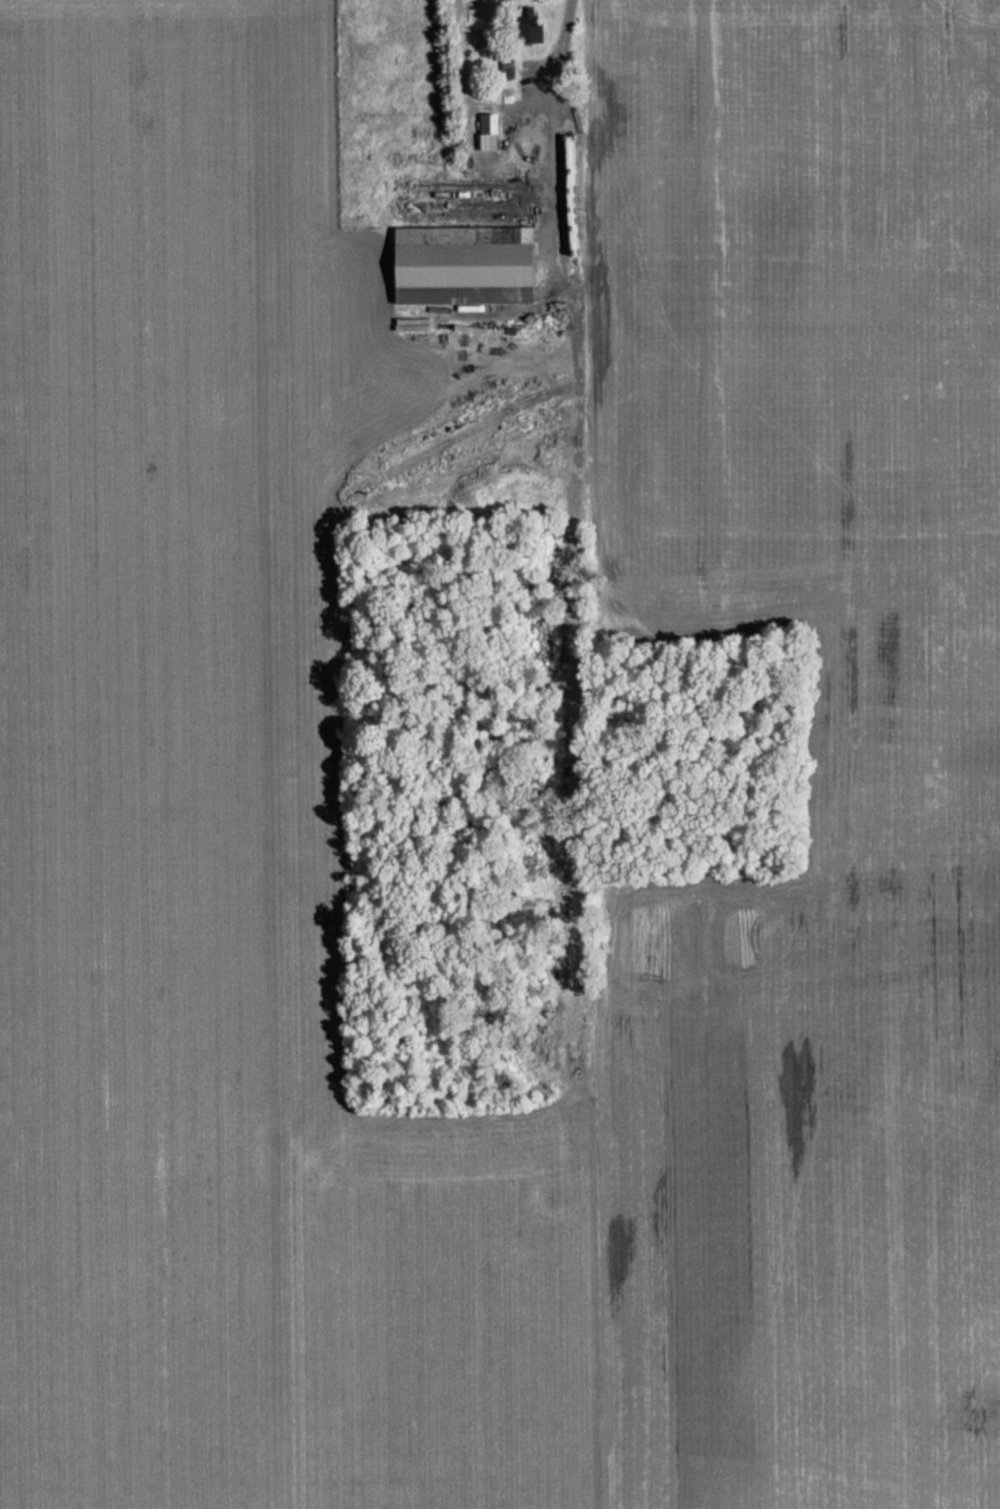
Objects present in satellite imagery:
building: (524, 27)
building: (483, 133)
road: (524, 189)
building: (457, 266)
crop: (170, 754)

